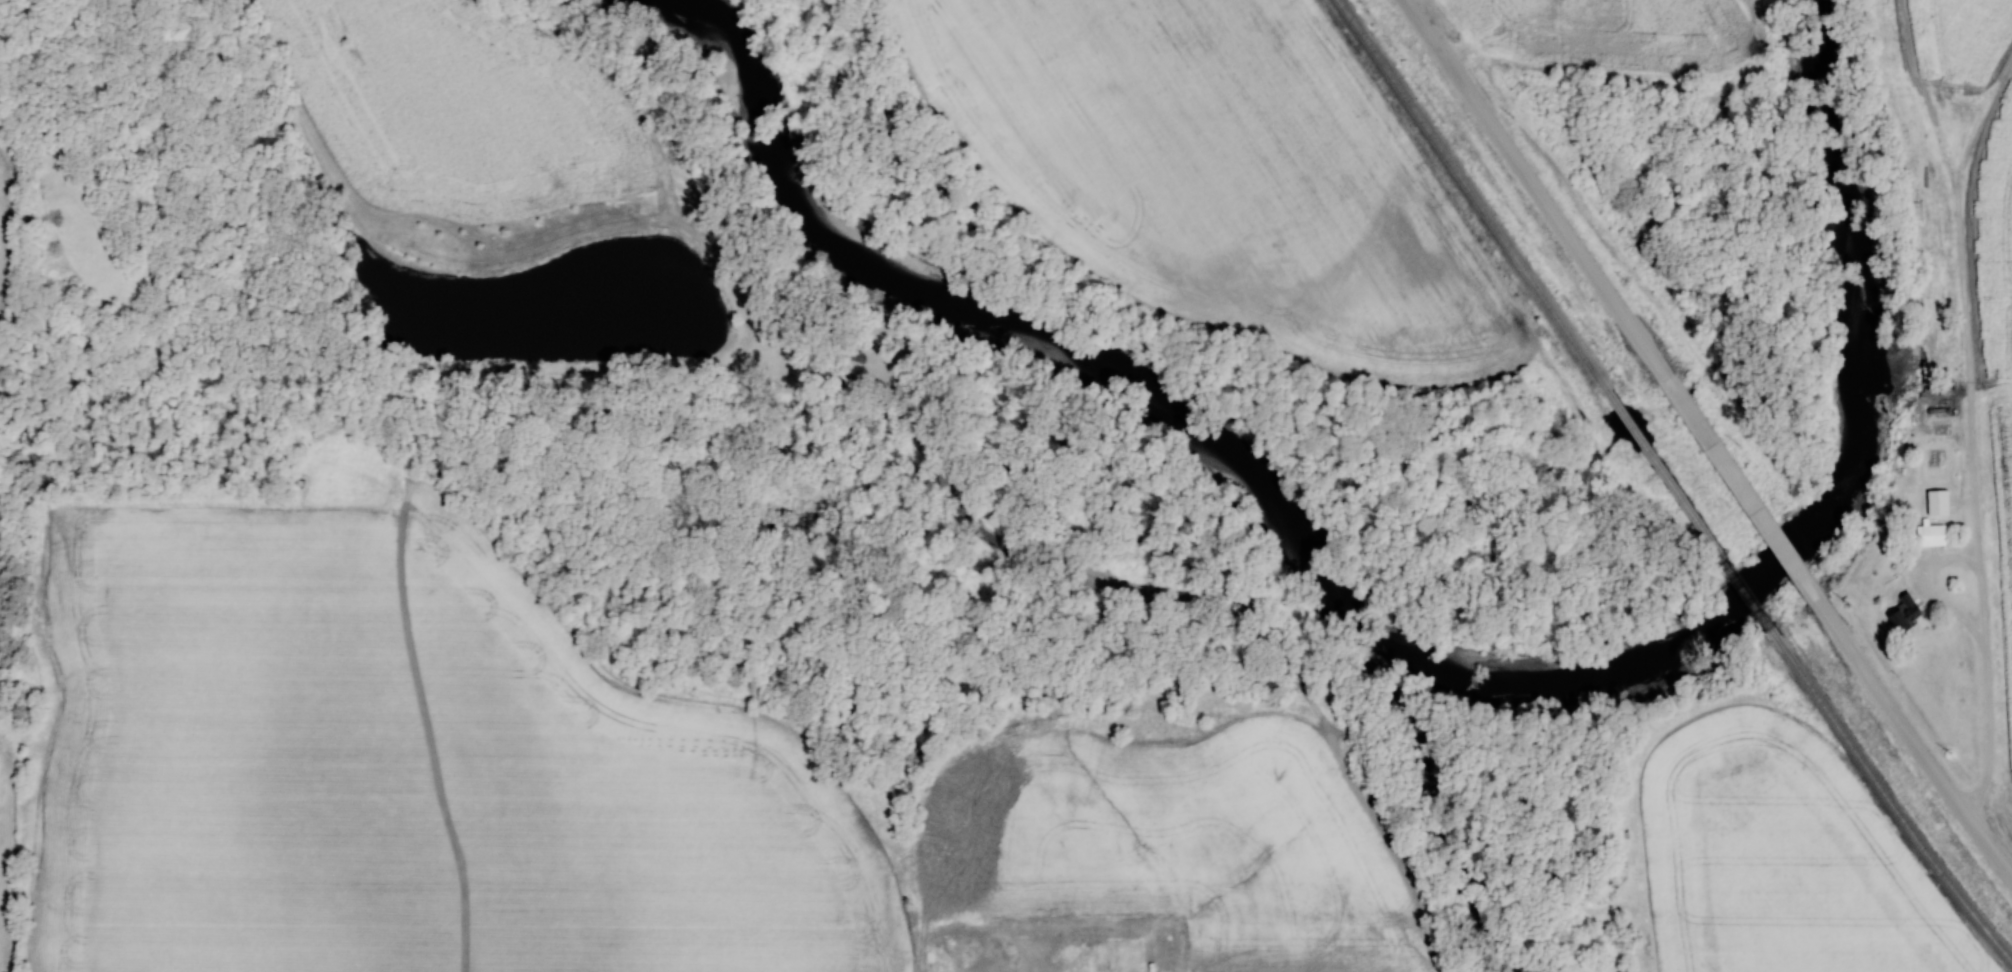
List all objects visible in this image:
road: (1980, 120)
road: (1541, 189)
railway: (1474, 197)
road: (1963, 278)
road: (1746, 493)
building: (1940, 502)
railway: (1692, 516)
building: (1934, 535)
building: (1907, 613)
road: (1981, 616)
road: (1913, 740)
railway: (1889, 803)

